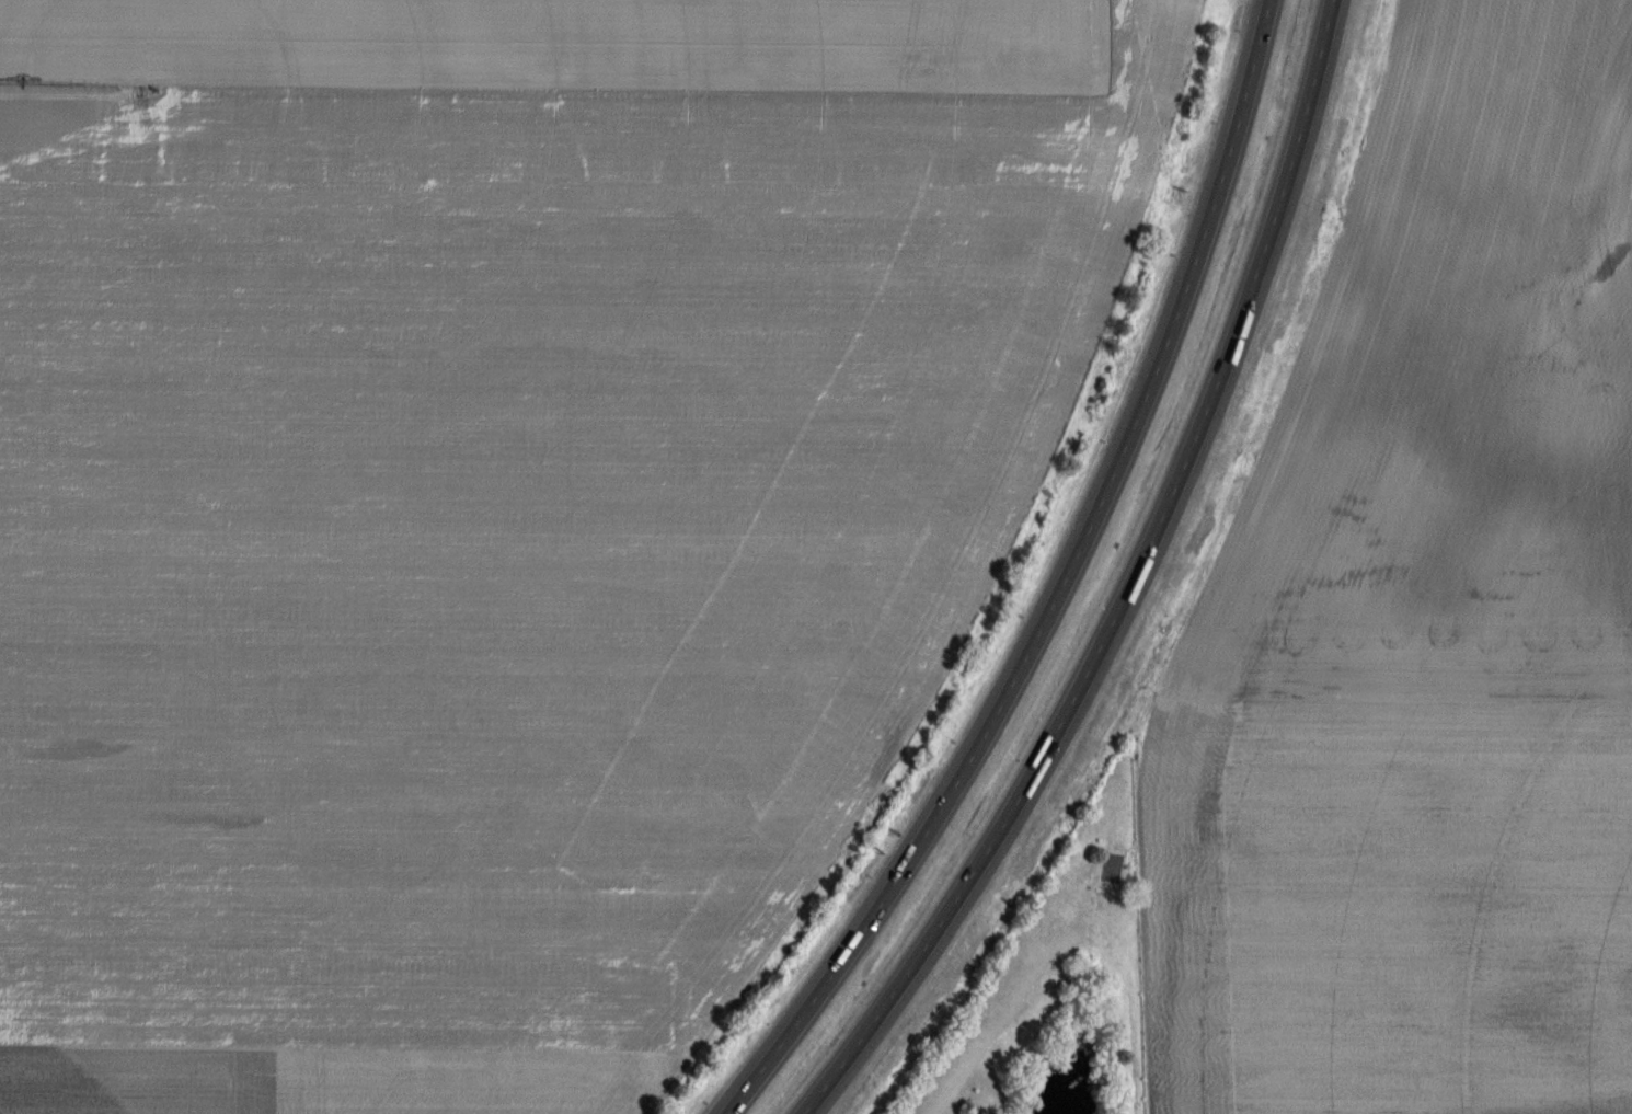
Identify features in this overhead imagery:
road: (1126, 586)
road: (1058, 587)

